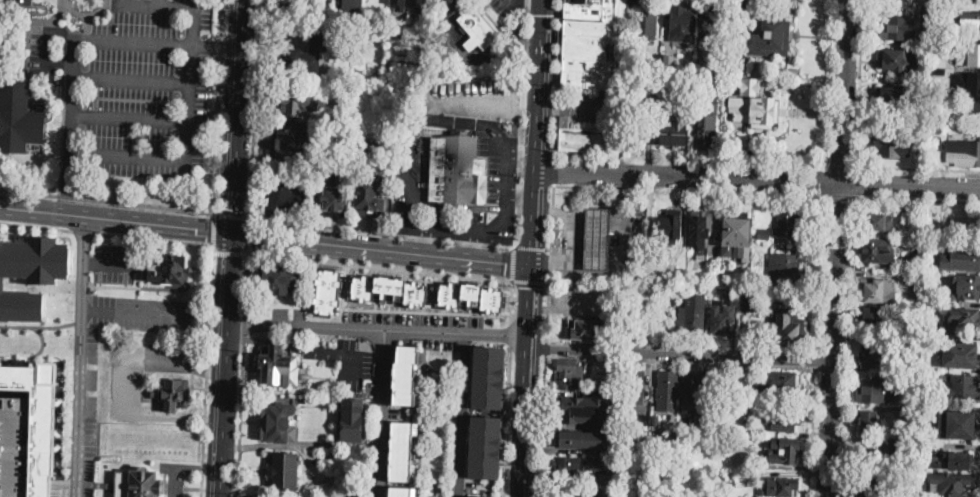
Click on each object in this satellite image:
road: (968, 0)
road: (146, 1)
road: (537, 1)
road: (543, 1)
building: (22, 2)
building: (333, 4)
building: (401, 4)
building: (716, 4)
building: (419, 5)
parking lot: (507, 5)
road: (195, 6)
building: (352, 7)
building: (743, 9)
building: (926, 12)
traffic signals: (543, 14)
building: (970, 20)
building: (647, 21)
building: (681, 23)
road: (542, 25)
building: (720, 27)
building: (896, 27)
building: (478, 30)
building: (772, 36)
building: (591, 42)
road: (44, 44)
road: (156, 44)
building: (939, 45)
building: (304, 55)
building: (968, 55)
road: (474, 57)
building: (896, 60)
building: (669, 63)
building: (939, 67)
road: (556, 77)
road: (859, 82)
road: (153, 83)
building: (685, 83)
building: (967, 83)
parking lot: (140, 84)
building: (751, 85)
road: (843, 89)
parking lot: (468, 93)
building: (937, 93)
road: (485, 95)
building: (892, 96)
building: (298, 101)
road: (219, 106)
road: (549, 106)
parking lot: (590, 106)
road: (253, 108)
road: (586, 108)
road: (538, 109)
building: (758, 110)
building: (971, 111)
road: (236, 115)
building: (19, 118)
road: (149, 119)
building: (351, 119)
road: (452, 119)
building: (564, 119)
building: (705, 120)
building: (331, 122)
building: (937, 122)
road: (520, 123)
road: (71, 127)
building: (671, 133)
building: (584, 139)
building: (290, 144)
building: (891, 144)
road: (520, 148)
parking lot: (491, 151)
building: (967, 153)
road: (148, 155)
road: (589, 156)
road: (918, 166)
road: (504, 167)
road: (554, 169)
building: (456, 171)
road: (688, 174)
road: (535, 180)
road: (855, 180)
road: (910, 183)
parking lot: (408, 185)
road: (408, 189)
road: (688, 189)
road: (519, 191)
road: (838, 194)
building: (337, 195)
building: (285, 197)
building: (369, 198)
road: (917, 198)
road: (504, 199)
road: (534, 200)
road: (107, 202)
road: (433, 207)
traffic signals: (234, 210)
road: (232, 215)
parking lot: (456, 216)
road: (117, 218)
building: (879, 221)
park: (951, 221)
road: (492, 224)
building: (671, 224)
building: (787, 224)
road: (35, 225)
road: (449, 226)
road: (214, 228)
building: (699, 228)
traffic signals: (209, 229)
road: (83, 230)
road: (381, 231)
building: (765, 233)
road: (248, 234)
road: (574, 234)
traffic signals: (256, 235)
road: (532, 235)
road: (423, 238)
building: (737, 238)
road: (154, 239)
building: (599, 239)
gas station: (599, 239)
road: (627, 240)
road: (471, 243)
road: (352, 244)
road: (230, 247)
road: (532, 247)
building: (876, 251)
building: (965, 258)
road: (500, 260)
traffic signals: (505, 261)
road: (109, 262)
parking lot: (114, 262)
road: (511, 262)
road: (550, 262)
building: (783, 268)
road: (837, 268)
road: (419, 269)
building: (166, 271)
road: (819, 273)
building: (31, 274)
road: (137, 278)
building: (280, 278)
road: (529, 280)
road: (82, 286)
road: (118, 286)
traffic signals: (532, 286)
building: (967, 286)
road: (41, 287)
building: (390, 289)
building: (877, 290)
building: (329, 291)
building: (472, 296)
building: (754, 300)
building: (747, 302)
parking lot: (144, 313)
road: (133, 314)
building: (874, 317)
building: (965, 318)
building: (720, 320)
building: (692, 321)
road: (81, 322)
road: (37, 326)
parking lot: (414, 326)
road: (379, 328)
building: (787, 328)
building: (588, 329)
road: (510, 333)
parking lot: (93, 343)
road: (681, 346)
road: (848, 346)
road: (42, 348)
road: (545, 348)
road: (681, 352)
building: (876, 353)
road: (81, 355)
building: (960, 355)
road: (815, 359)
parking lot: (346, 360)
road: (680, 361)
road: (226, 364)
building: (277, 367)
road: (207, 371)
building: (572, 373)
road: (242, 374)
building: (405, 374)
building: (489, 377)
parking lot: (128, 378)
parking lot: (92, 379)
road: (529, 380)
building: (598, 382)
building: (782, 385)
road: (122, 386)
building: (668, 386)
building: (961, 386)
building: (636, 387)
building: (871, 389)
building: (688, 391)
building: (709, 391)
building: (728, 393)
building: (172, 394)
building: (579, 411)
road: (382, 413)
road: (464, 414)
building: (913, 415)
building: (654, 418)
building: (37, 419)
building: (354, 419)
building: (784, 419)
road: (507, 420)
building: (643, 421)
building: (279, 422)
building: (867, 422)
building: (958, 423)
road: (541, 426)
building: (701, 426)
road: (830, 428)
building: (725, 429)
road: (812, 432)
building: (692, 433)
building: (578, 439)
building: (15, 442)
parking garage: (15, 442)
building: (669, 445)
building: (900, 445)
parking lot: (89, 446)
building: (486, 447)
building: (627, 447)
building: (401, 450)
building: (785, 451)
building: (867, 456)
building: (950, 460)
road: (185, 467)
building: (587, 467)
building: (284, 471)
building: (907, 478)
building: (874, 482)
building: (140, 484)
building: (951, 485)
road: (64, 486)
building: (782, 487)
building: (402, 491)
building: (573, 495)
building: (478, 496)

